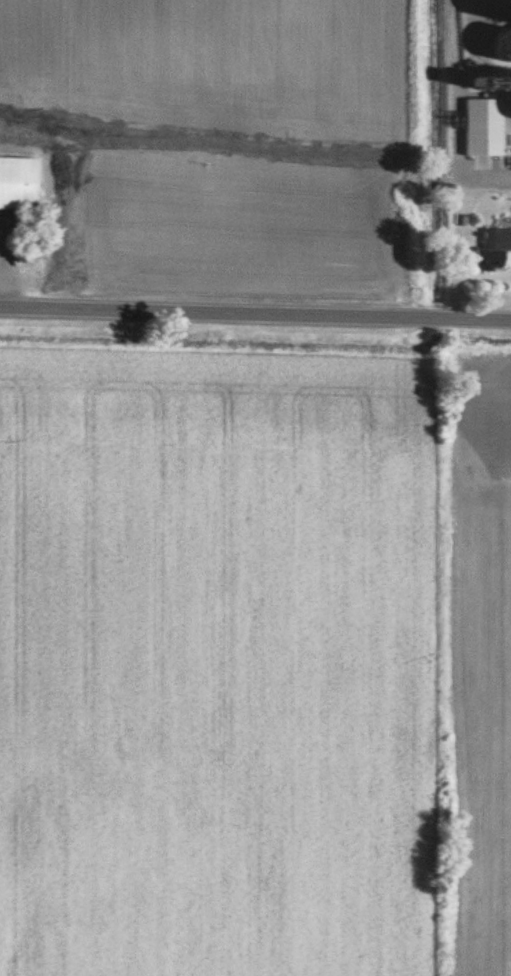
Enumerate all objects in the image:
building: (507, 43)
building: (510, 80)
road: (452, 113)
building: (486, 126)
building: (510, 145)
building: (494, 249)
road: (255, 315)

